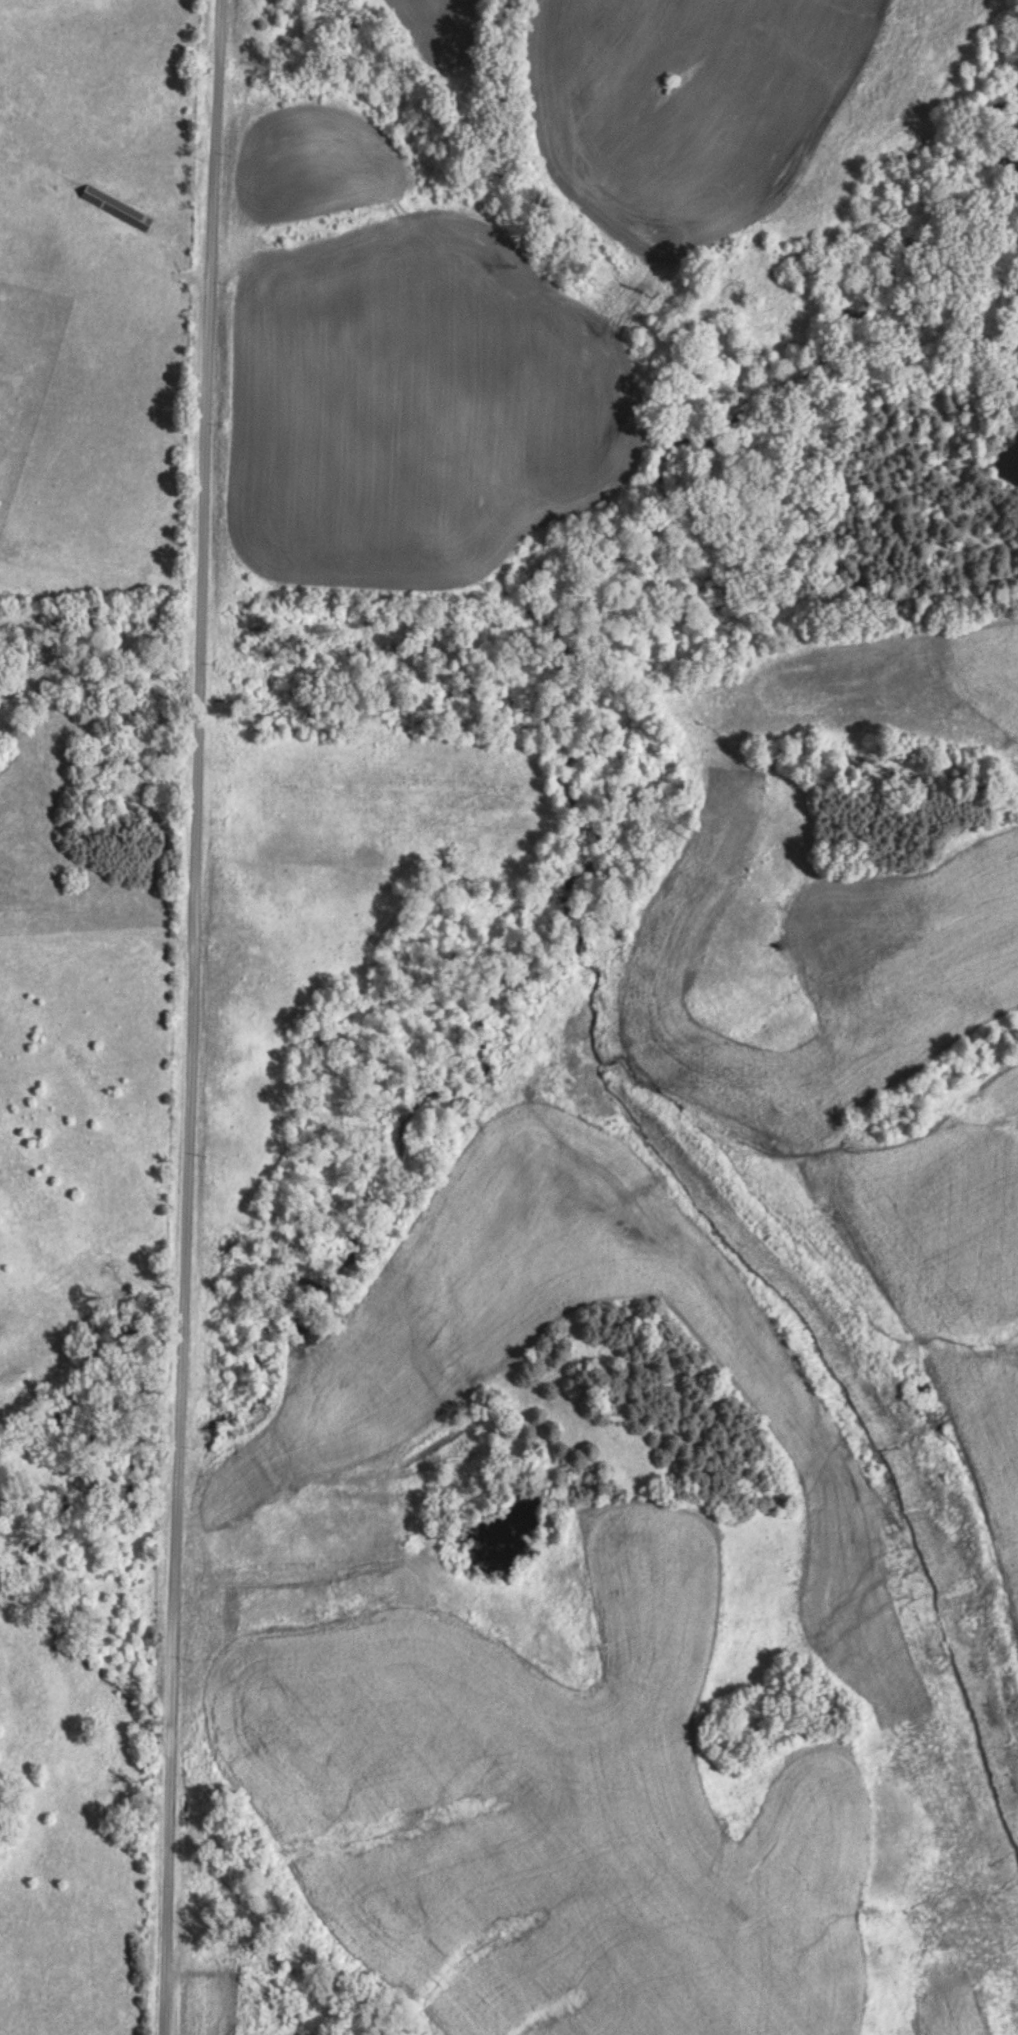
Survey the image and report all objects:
building: (117, 208)
road: (195, 1017)

